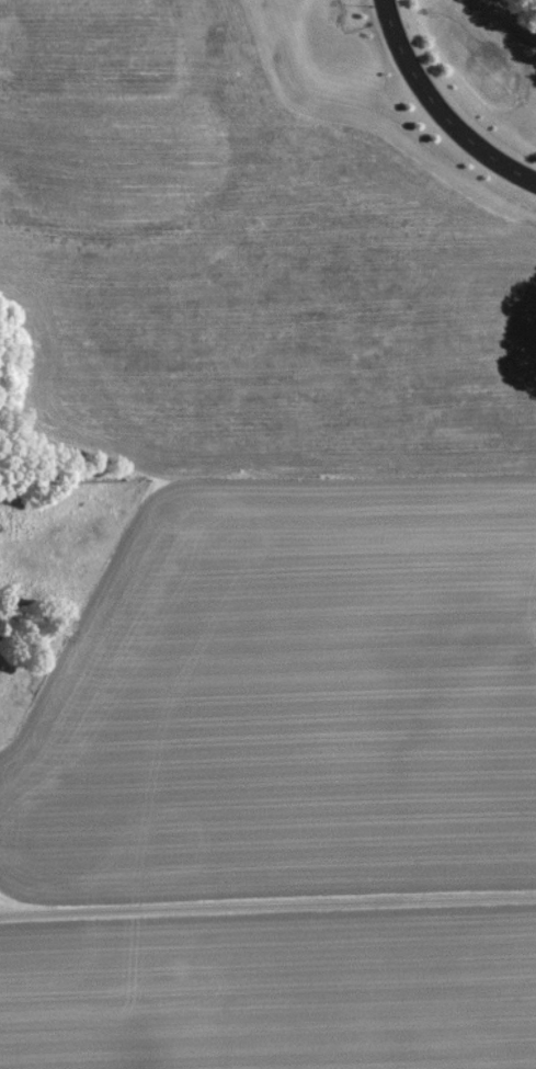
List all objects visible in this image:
road: (440, 104)
road: (267, 900)

